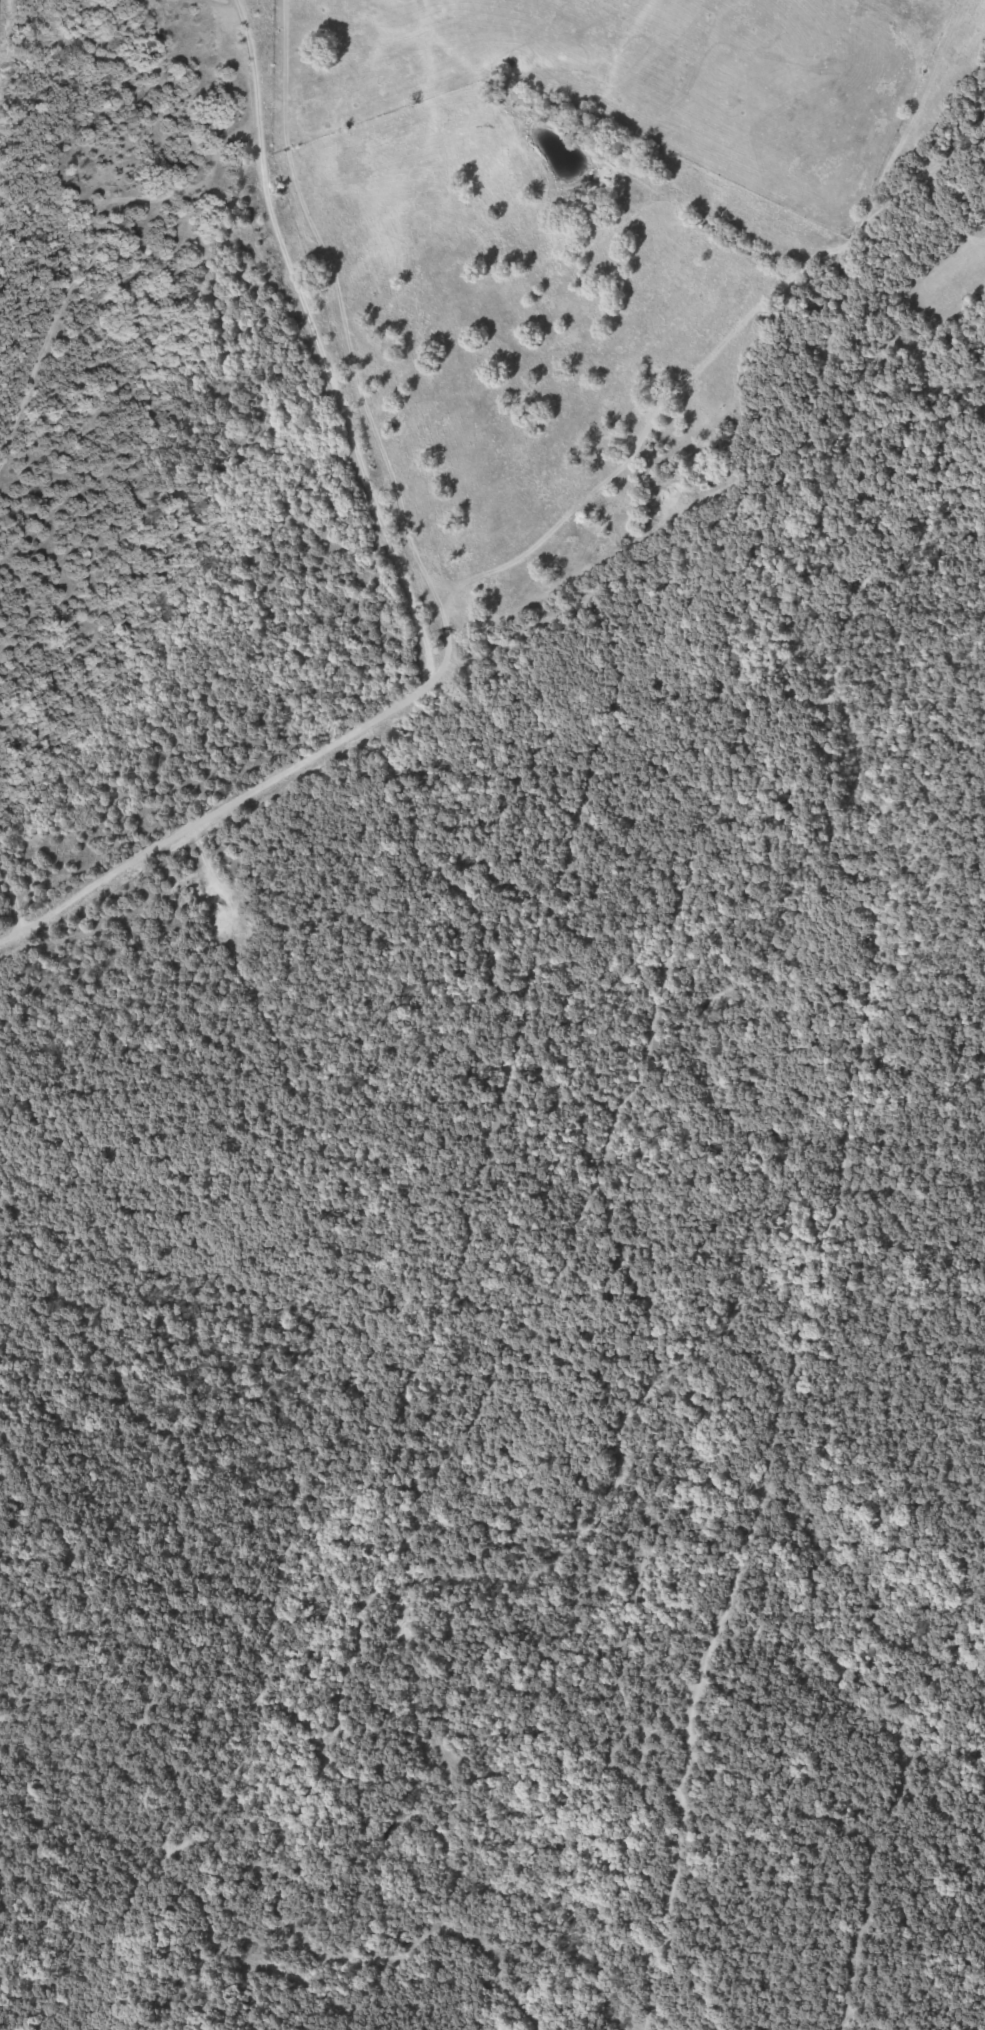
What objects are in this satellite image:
road: (398, 574)

